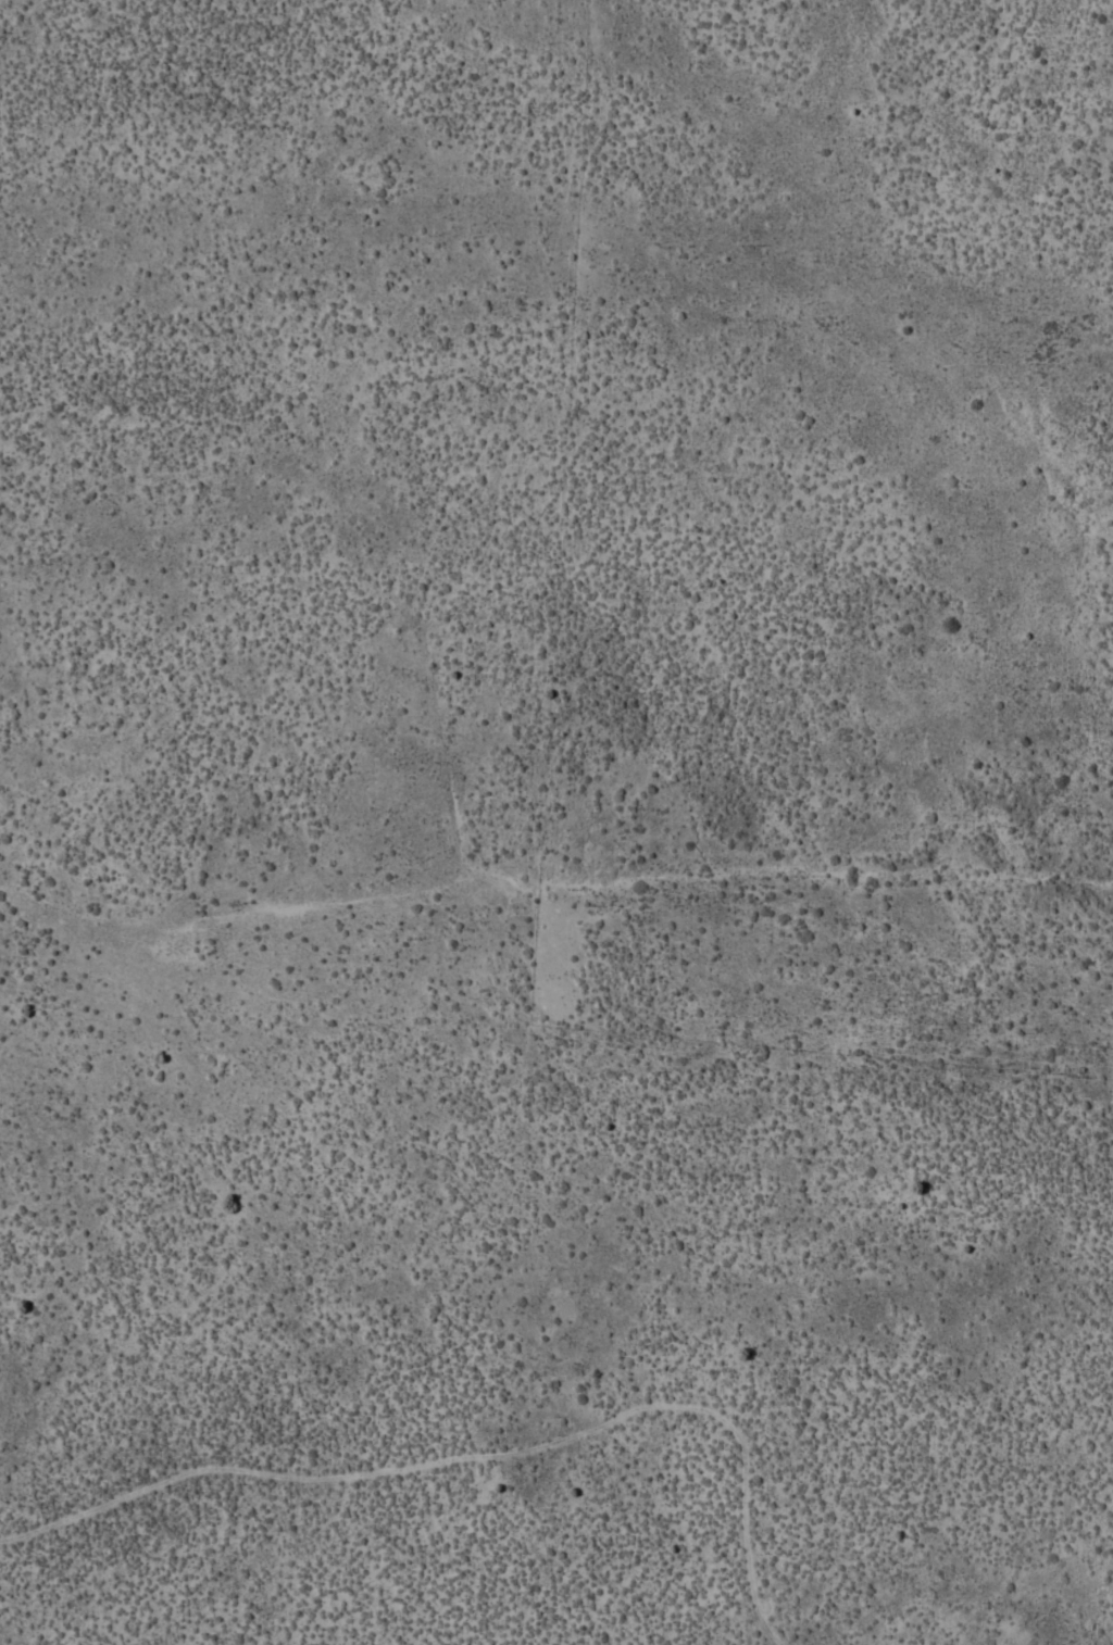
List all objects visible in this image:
road: (477, 1461)

